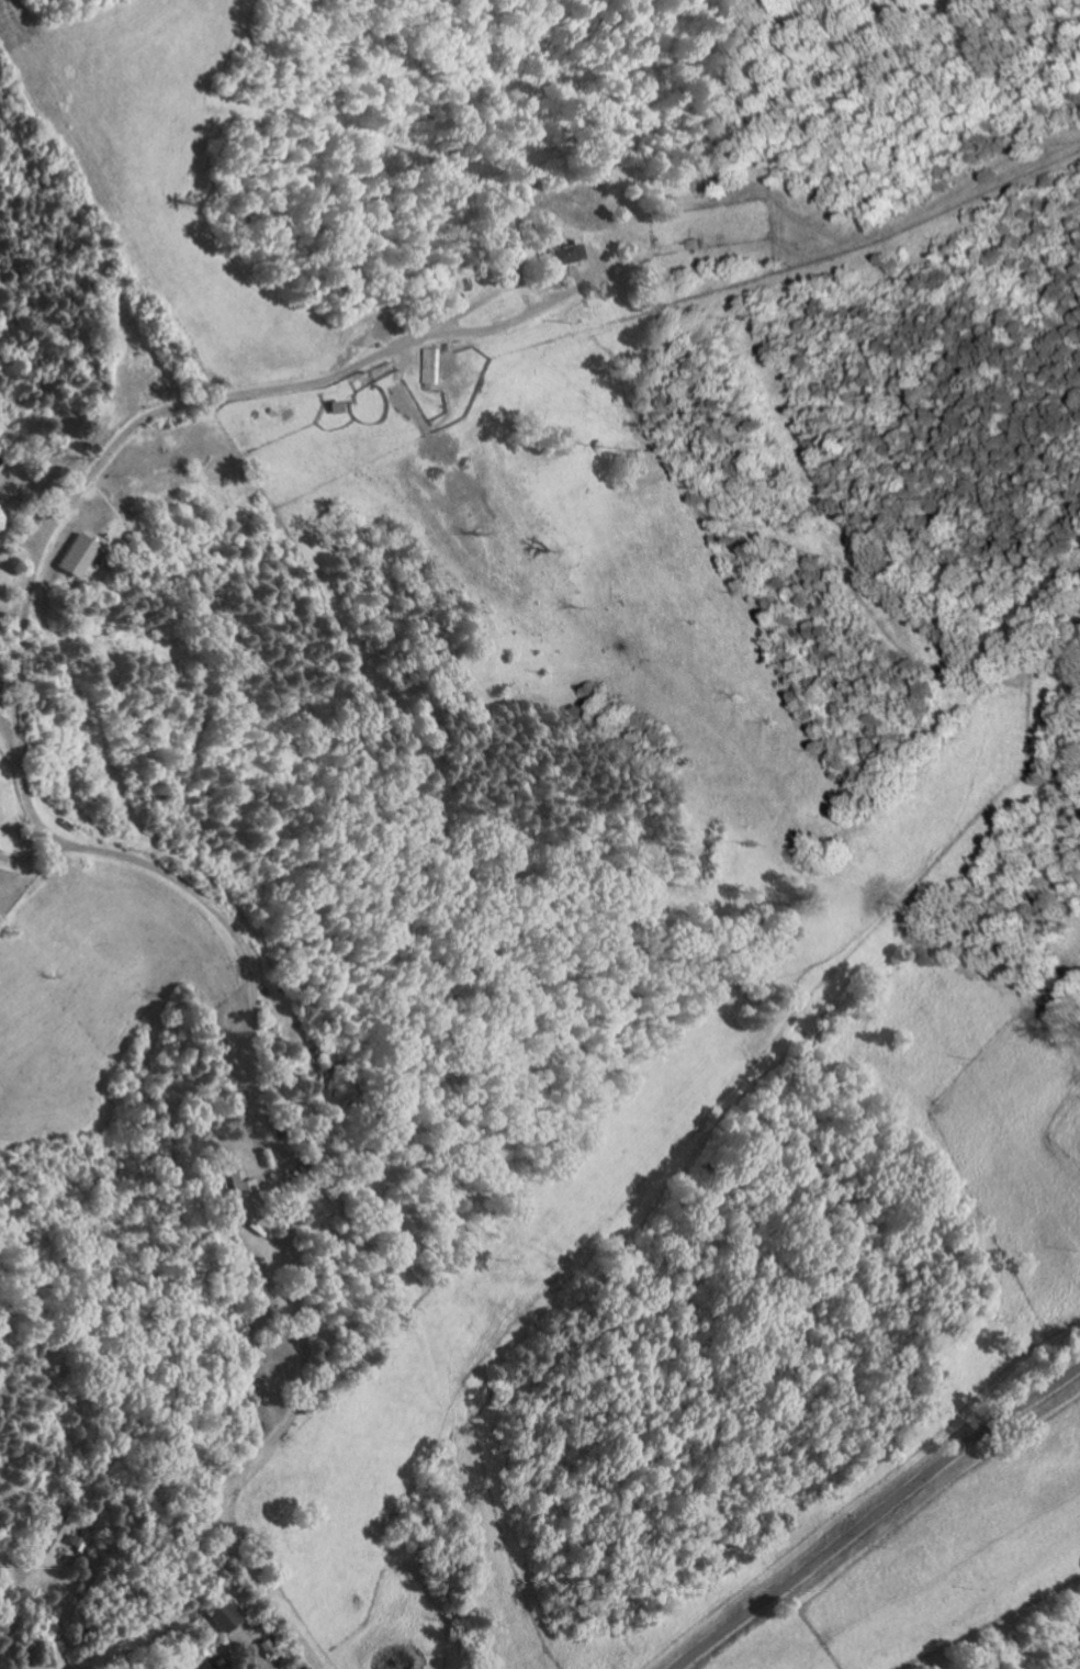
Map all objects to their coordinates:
building: (699, 243)
building: (566, 251)
road: (594, 262)
road: (573, 273)
road: (547, 282)
road: (484, 294)
building: (427, 363)
road: (322, 378)
building: (336, 405)
road: (18, 541)
building: (77, 553)
road: (8, 727)
road: (32, 853)
road: (258, 1071)
road: (290, 1161)
road: (270, 1189)
building: (246, 1192)
road: (265, 1234)
road: (876, 1517)
building: (59, 1521)
building: (82, 1538)
road: (15, 1613)
building: (226, 1615)
road: (255, 1654)
building: (204, 1664)

